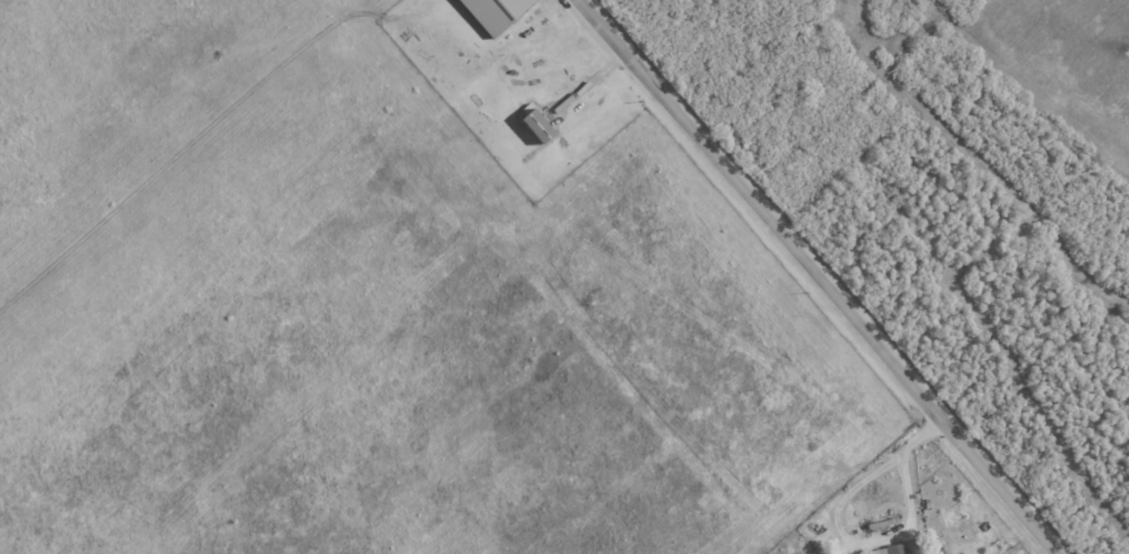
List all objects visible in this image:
building: (494, 12)
building: (535, 126)
road: (820, 276)
road: (438, 289)
road: (877, 538)

